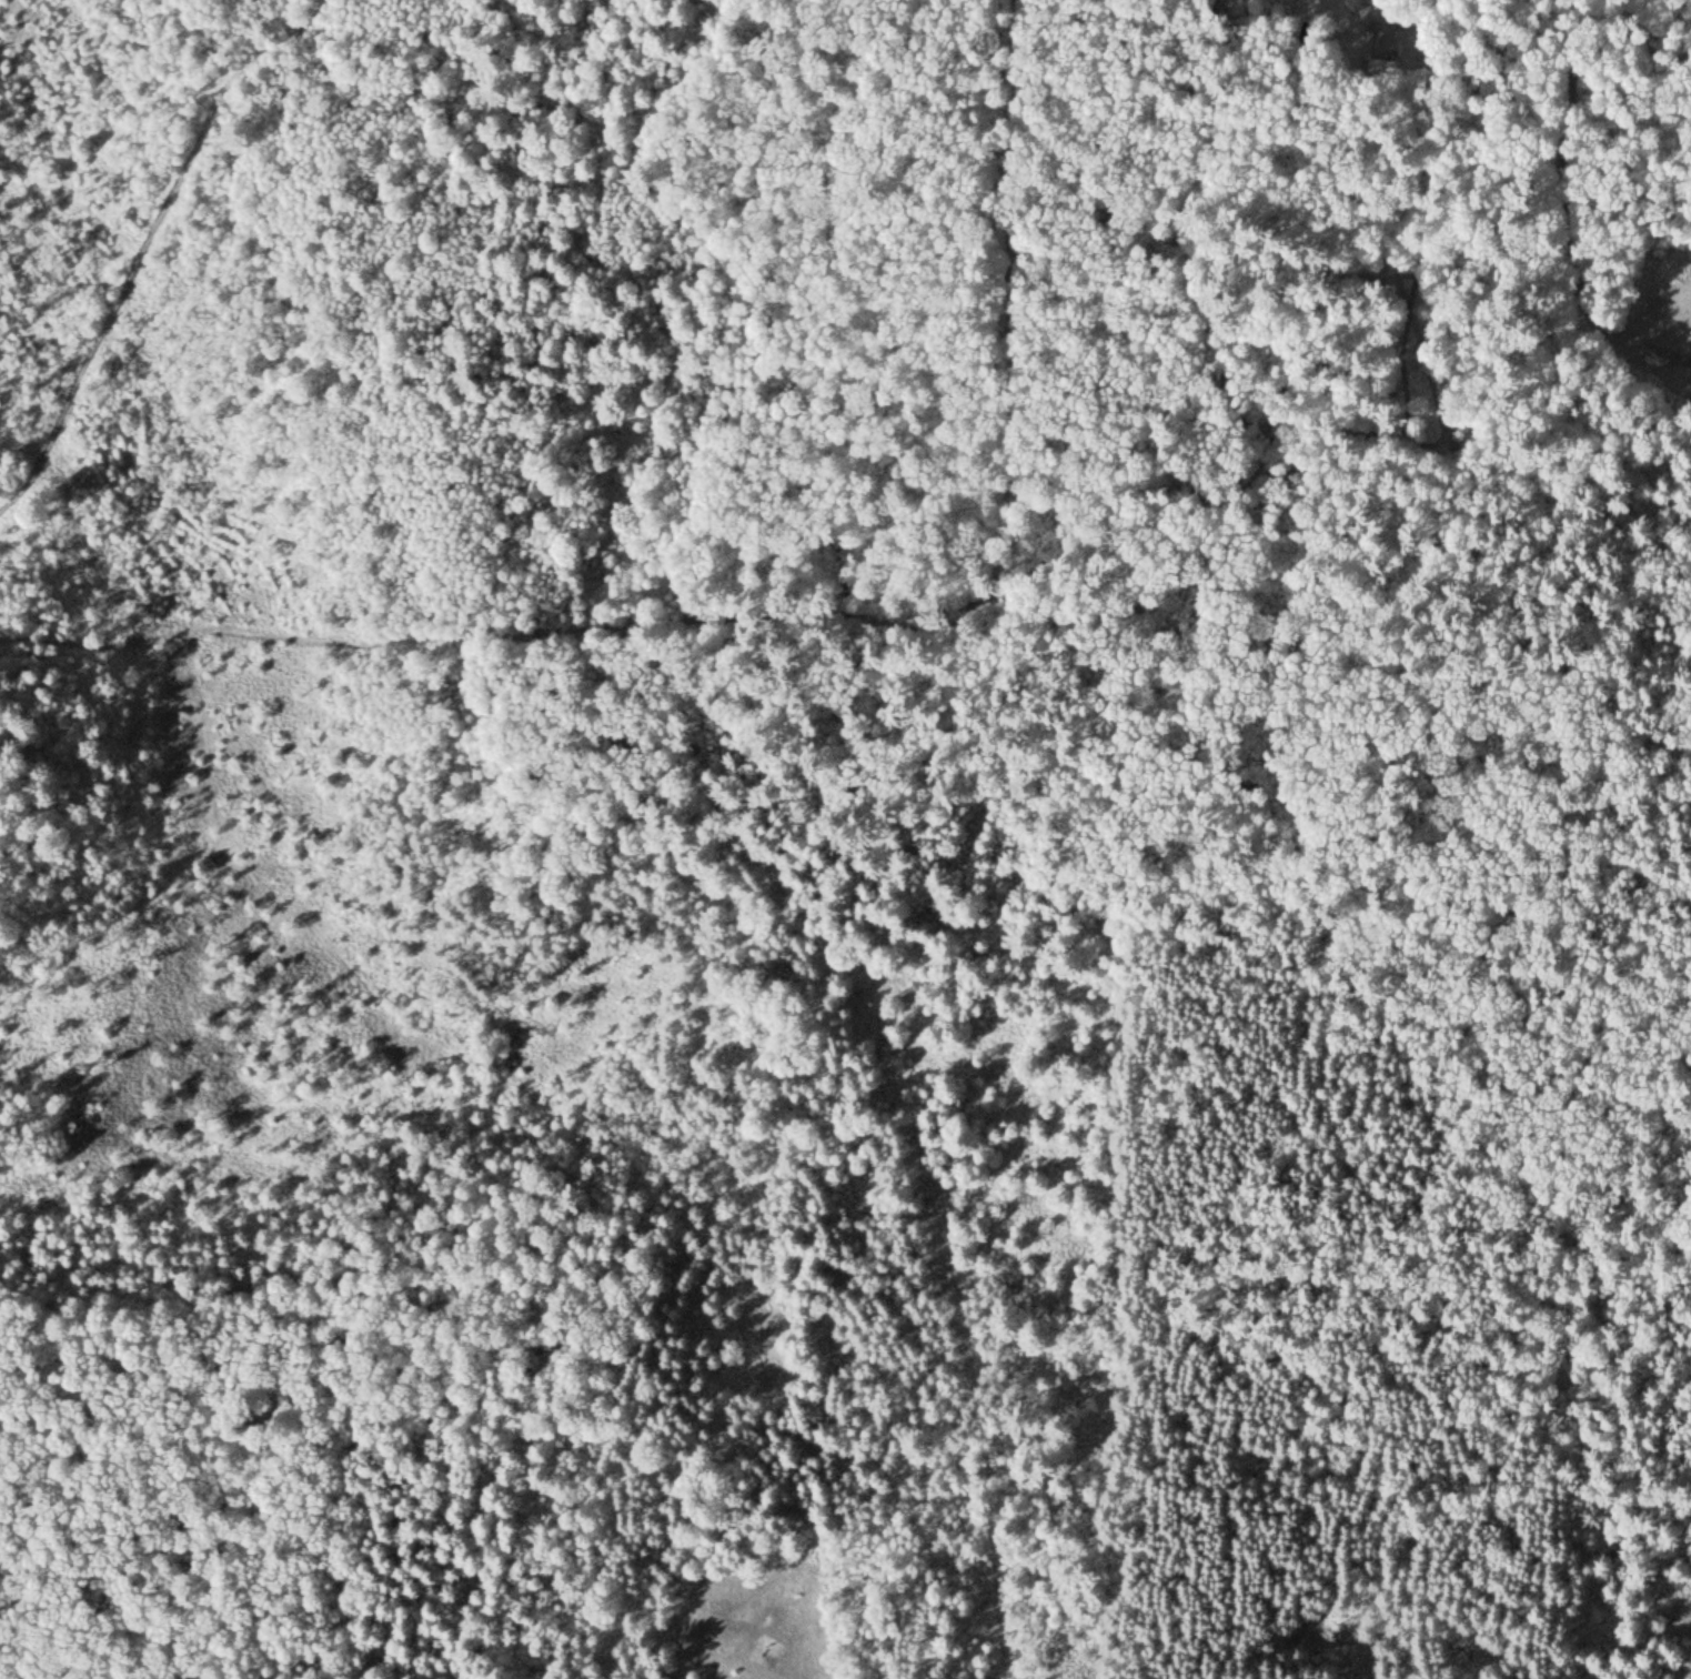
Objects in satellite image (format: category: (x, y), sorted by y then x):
building: (1378, 44)
road: (107, 306)

